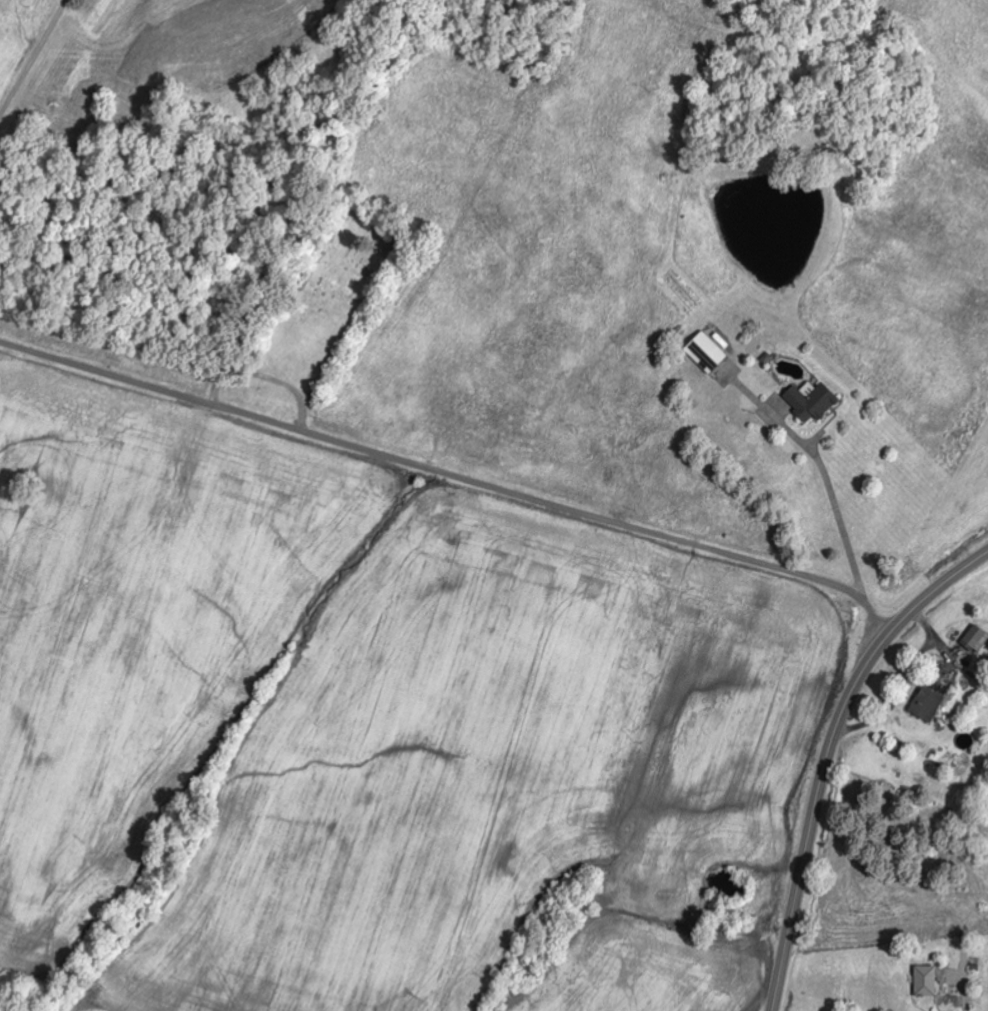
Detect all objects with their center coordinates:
park: (330, 302)
building: (706, 352)
building: (810, 400)
road: (453, 476)
building: (977, 639)
building: (927, 704)
road: (829, 756)
building: (925, 981)

